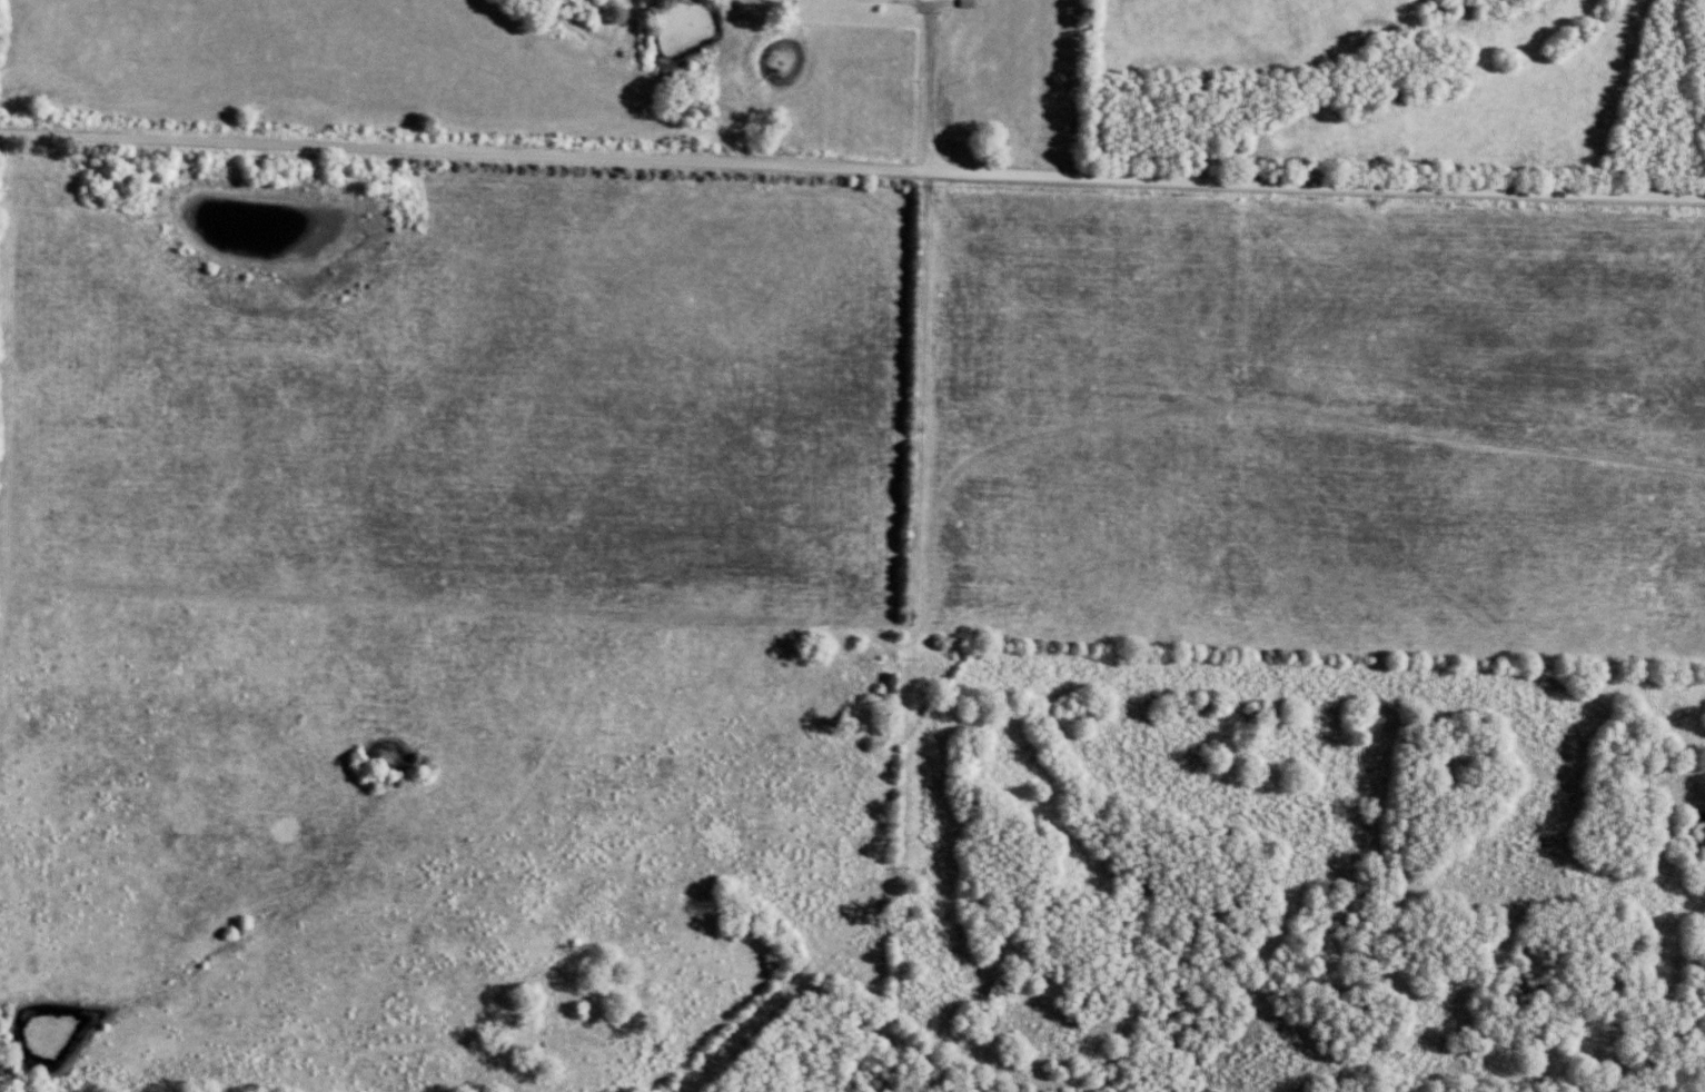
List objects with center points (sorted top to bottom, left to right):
road: (931, 82)
road: (852, 168)
road: (846, 986)

